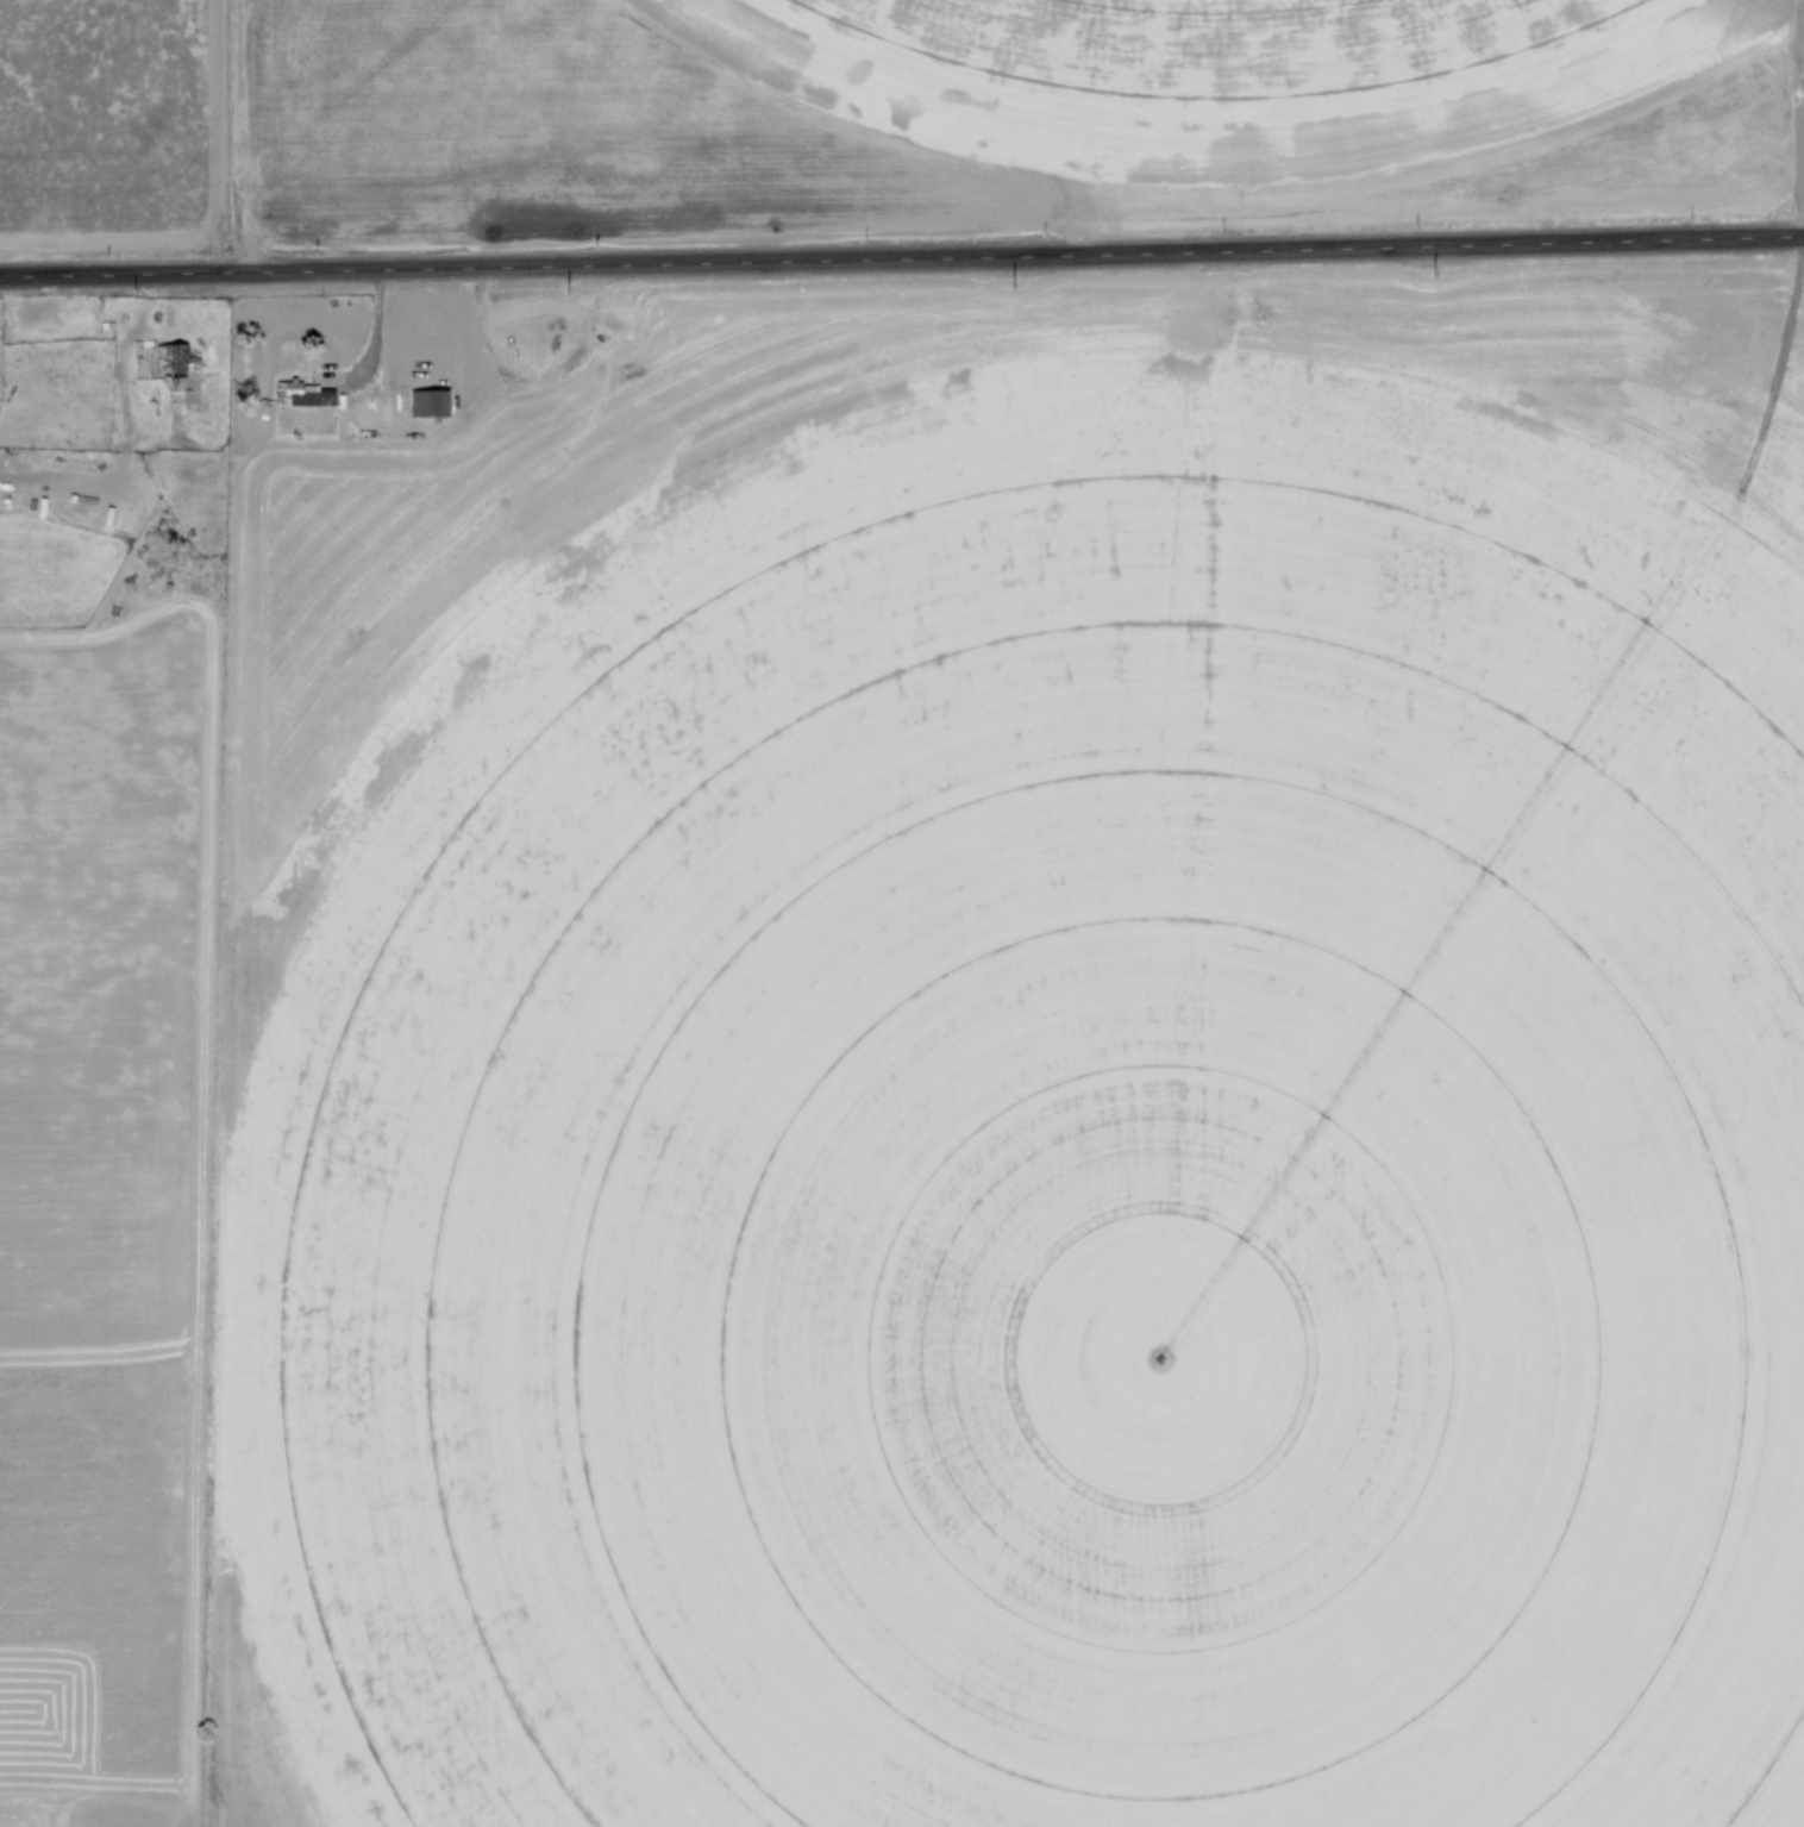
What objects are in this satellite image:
road: (902, 255)
building: (295, 393)
building: (428, 403)

